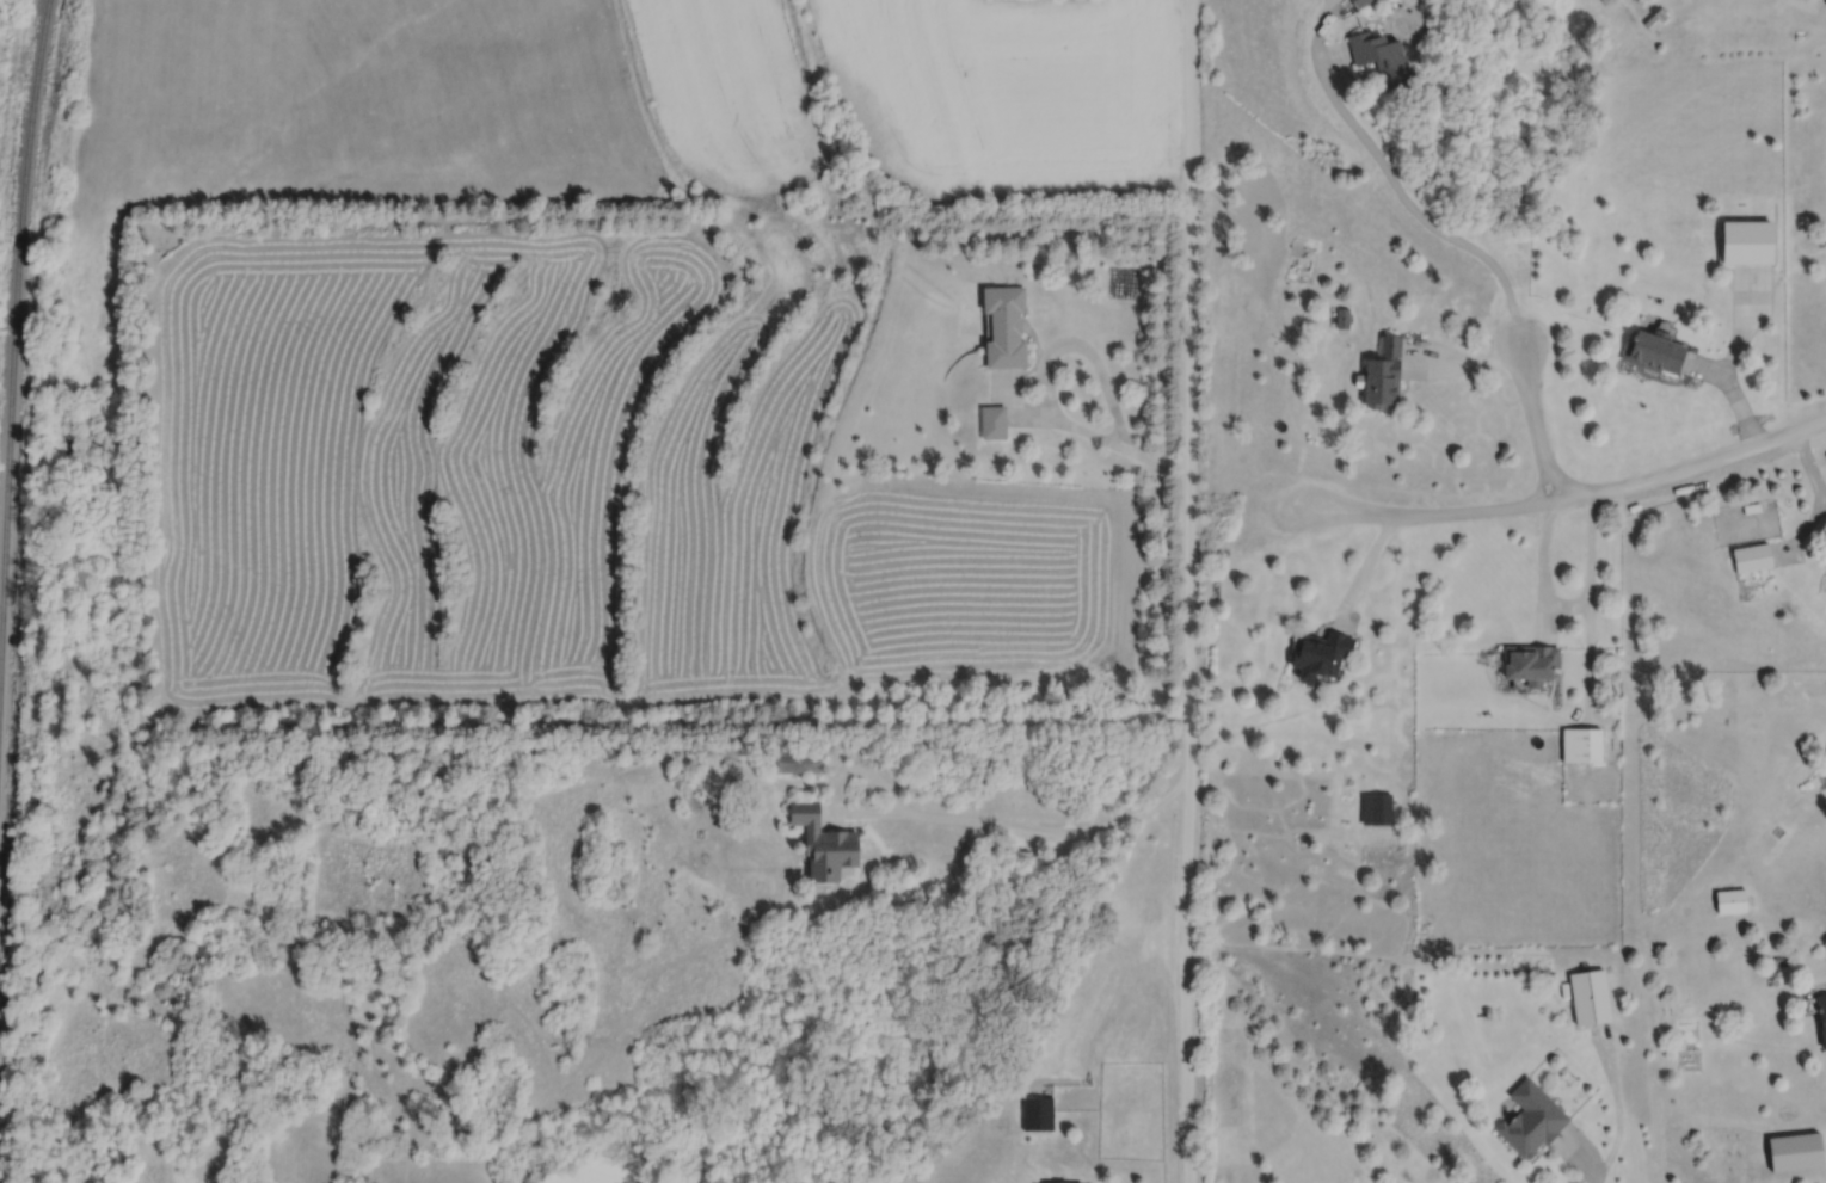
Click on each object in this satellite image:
building: (1358, 2)
building: (1825, 4)
building: (1655, 16)
building: (1382, 56)
road: (1391, 179)
building: (1748, 244)
building: (1342, 316)
railway: (14, 320)
building: (1006, 326)
building: (1653, 350)
road: (1729, 356)
road: (1465, 361)
road: (1705, 366)
building: (1384, 374)
road: (1043, 378)
road: (1015, 406)
road: (1535, 418)
building: (994, 421)
road: (1809, 463)
road: (1570, 495)
building: (1744, 506)
road: (1805, 525)
building: (1751, 554)
road: (1365, 566)
road: (1188, 591)
road: (1570, 604)
building: (1317, 651)
building: (1529, 659)
building: (1581, 743)
building: (797, 758)
building: (1375, 807)
road: (846, 809)
road: (1052, 828)
building: (823, 840)
building: (1729, 899)
building: (1590, 996)
building: (1821, 1015)
road: (1617, 1107)
building: (1037, 1111)
building: (1530, 1119)
building: (1794, 1151)
building: (1062, 1182)
building: (1066, 1182)

